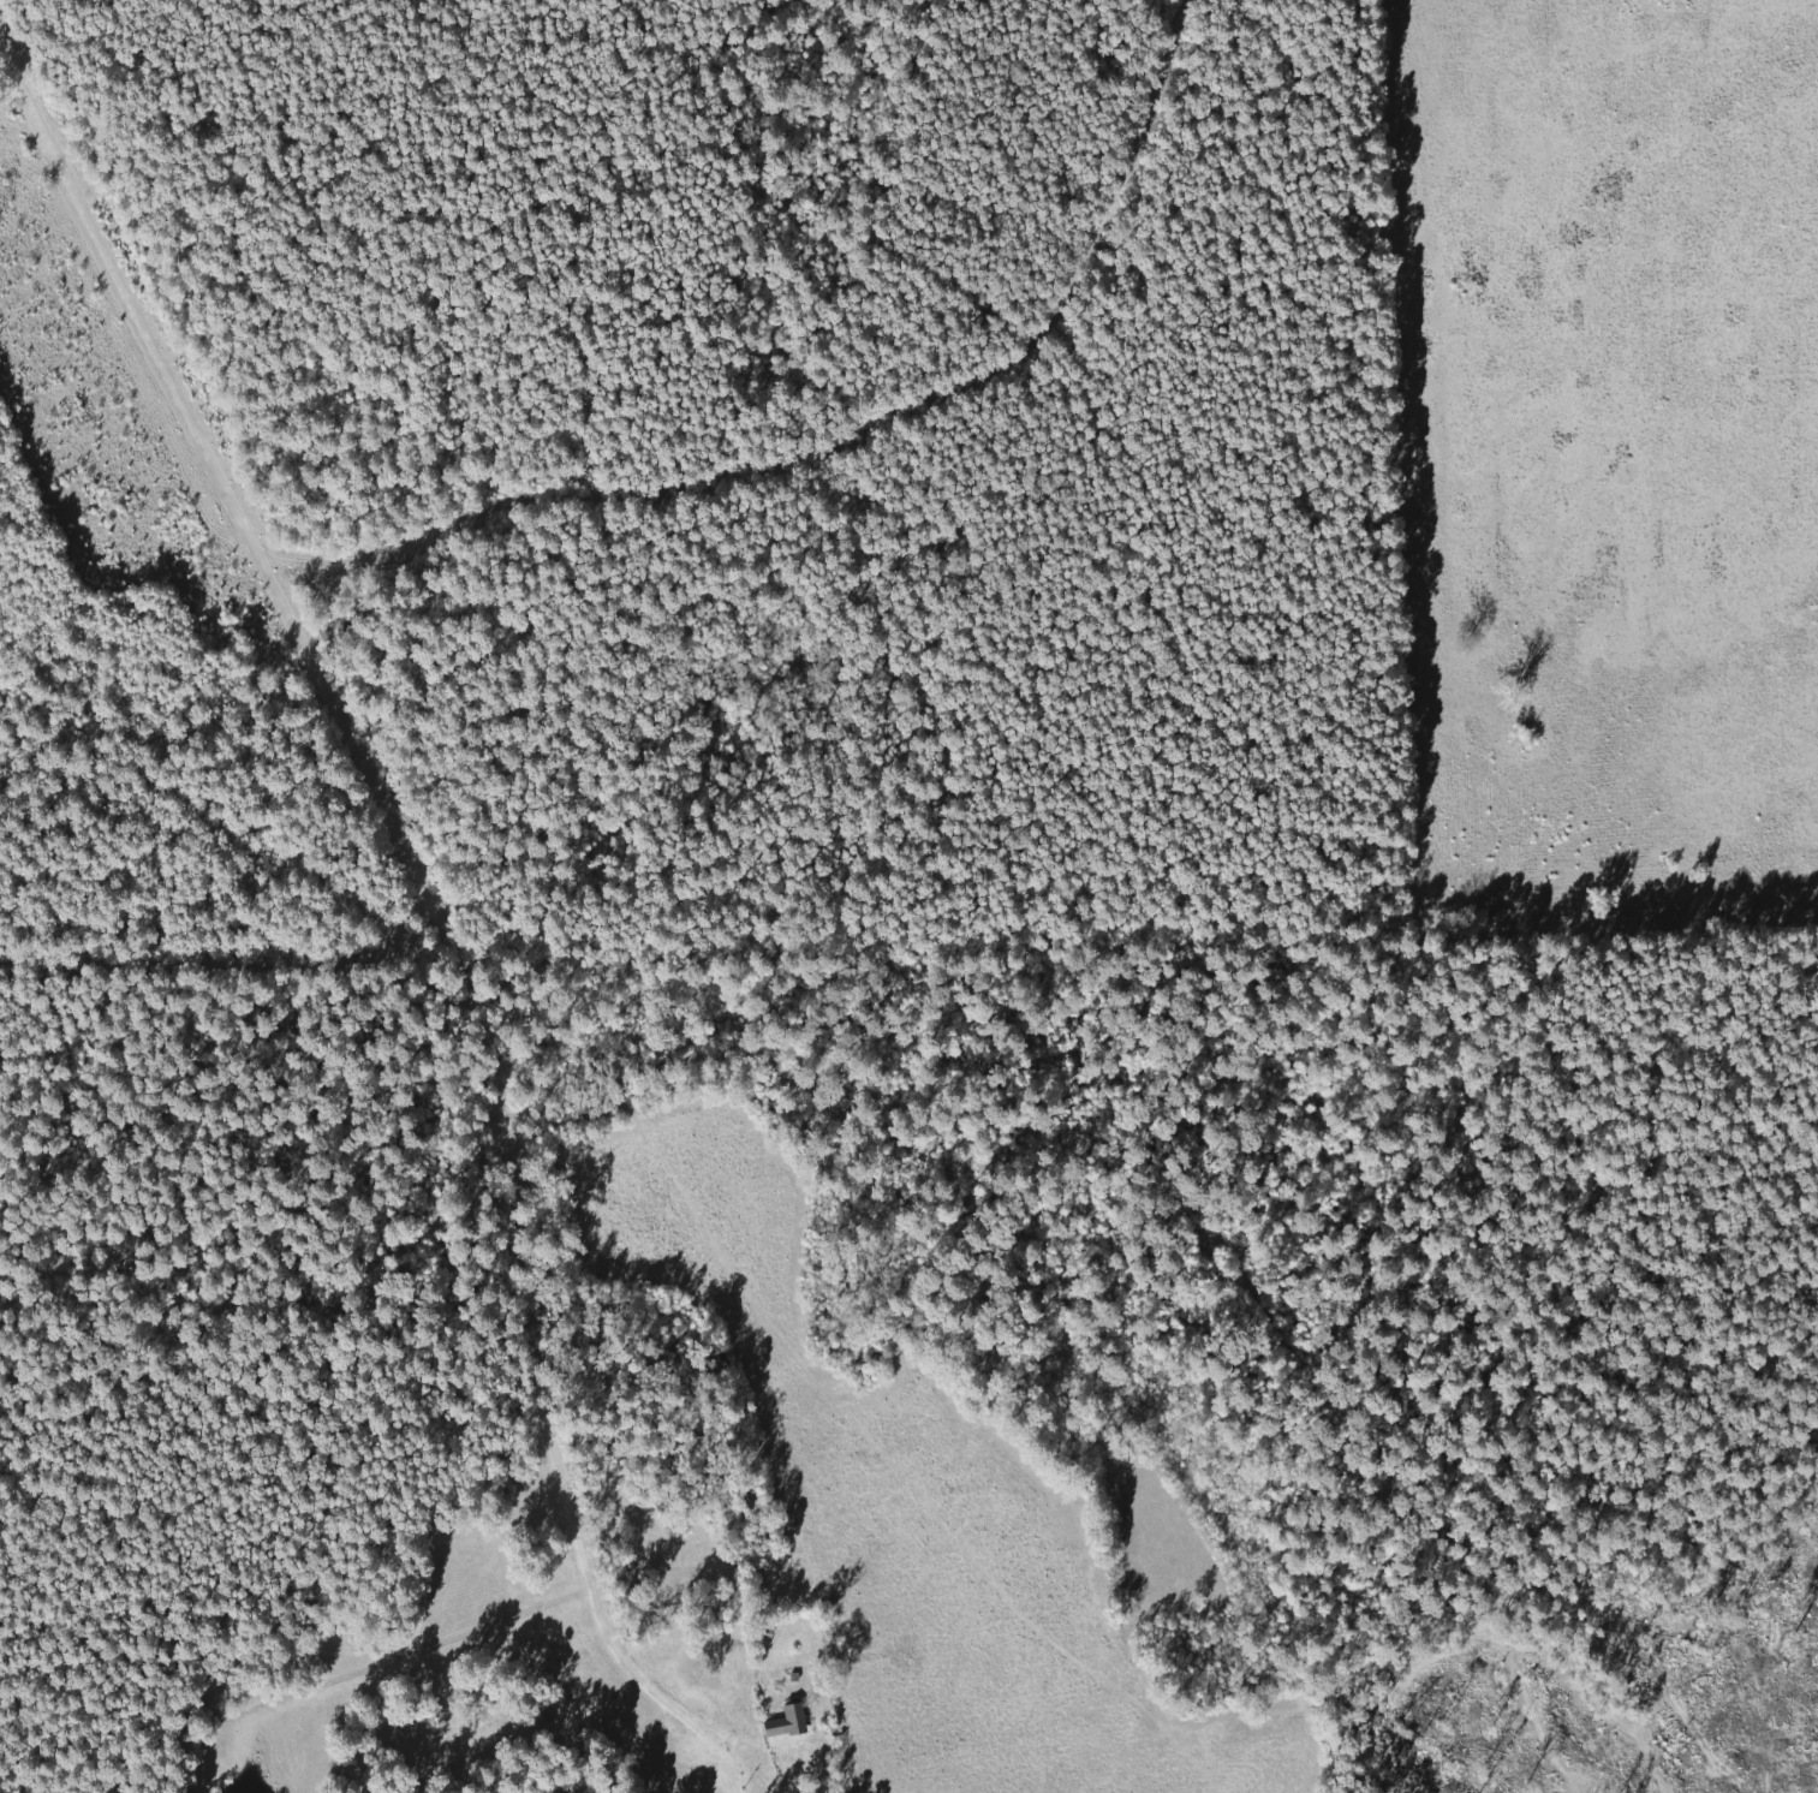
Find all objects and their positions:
road: (427, 869)
building: (783, 1721)

